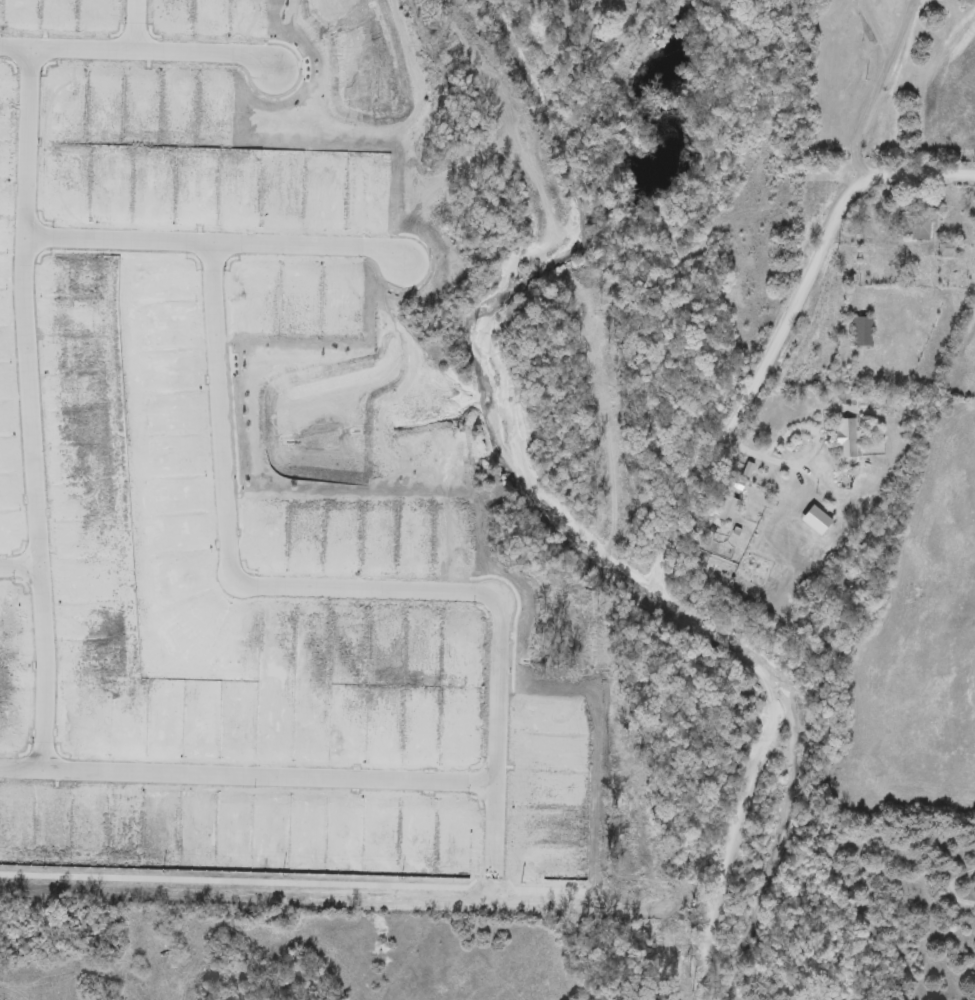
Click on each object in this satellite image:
building: (591, 7)
road: (136, 26)
road: (138, 53)
road: (878, 90)
building: (912, 229)
road: (874, 242)
road: (215, 246)
building: (945, 250)
building: (859, 332)
road: (29, 411)
building: (841, 439)
road: (769, 456)
road: (661, 537)
road: (18, 566)
road: (332, 591)
road: (248, 780)

